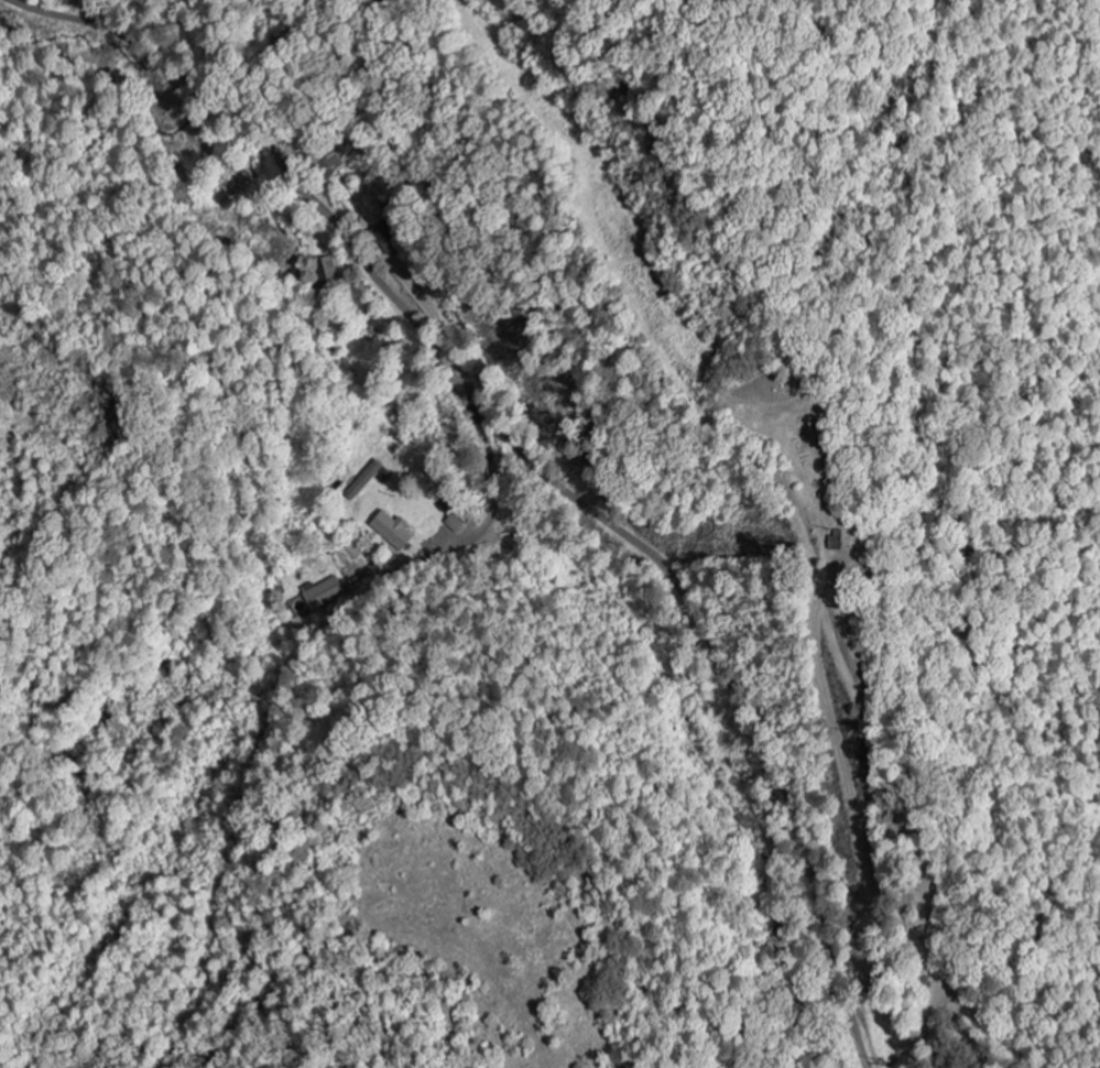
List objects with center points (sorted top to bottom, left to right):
road: (185, 47)
road: (532, 459)
building: (368, 481)
building: (467, 520)
road: (484, 525)
building: (395, 532)
building: (325, 593)

